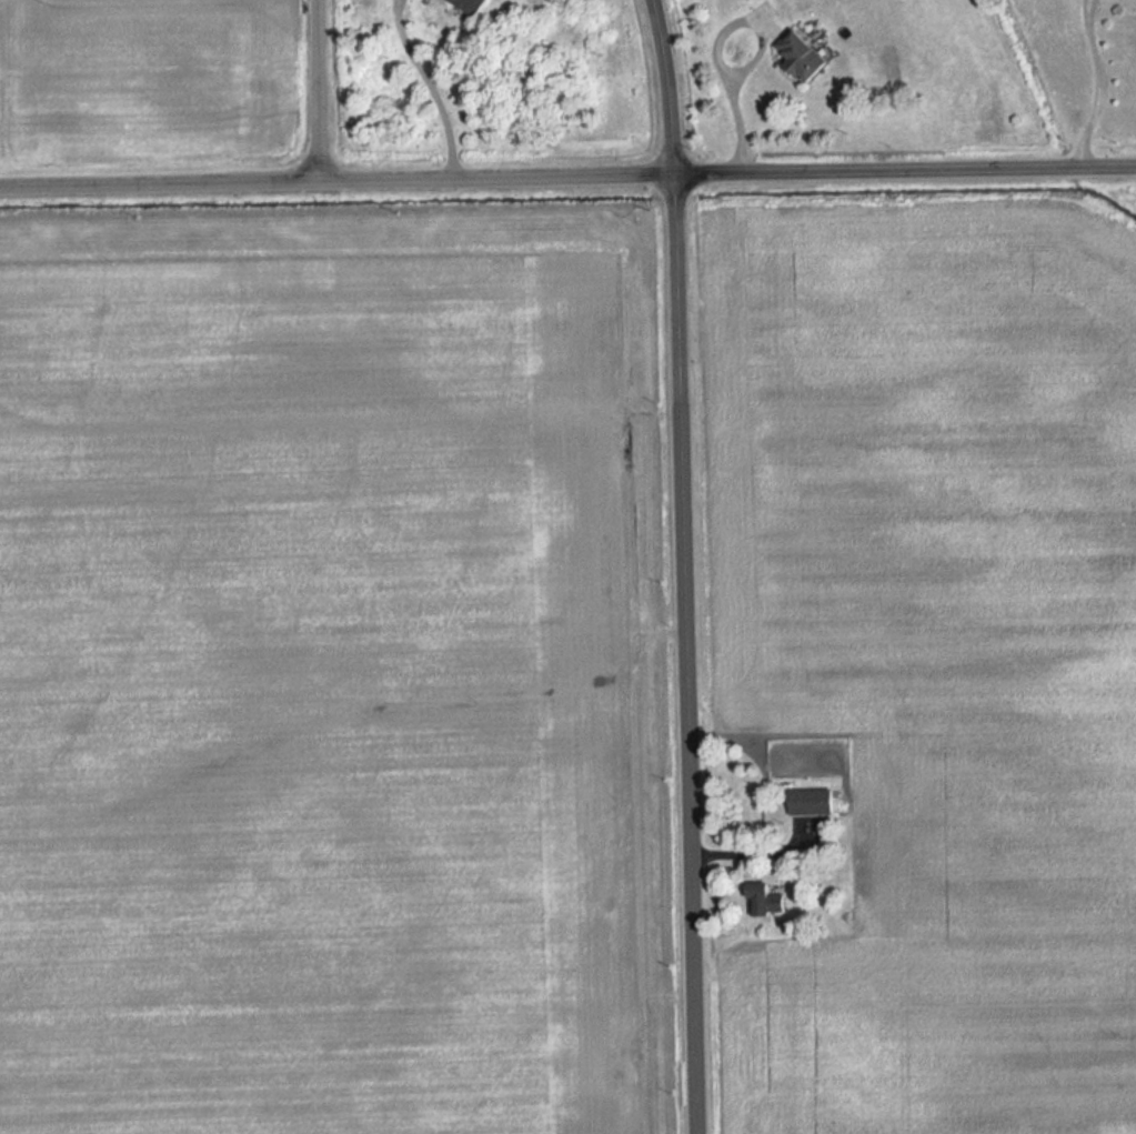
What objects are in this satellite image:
building: (468, 4)
road: (718, 46)
building: (801, 54)
road: (1094, 83)
road: (667, 87)
road: (432, 88)
road: (318, 90)
road: (905, 169)
road: (336, 180)
road: (687, 654)
building: (811, 801)
building: (763, 899)

